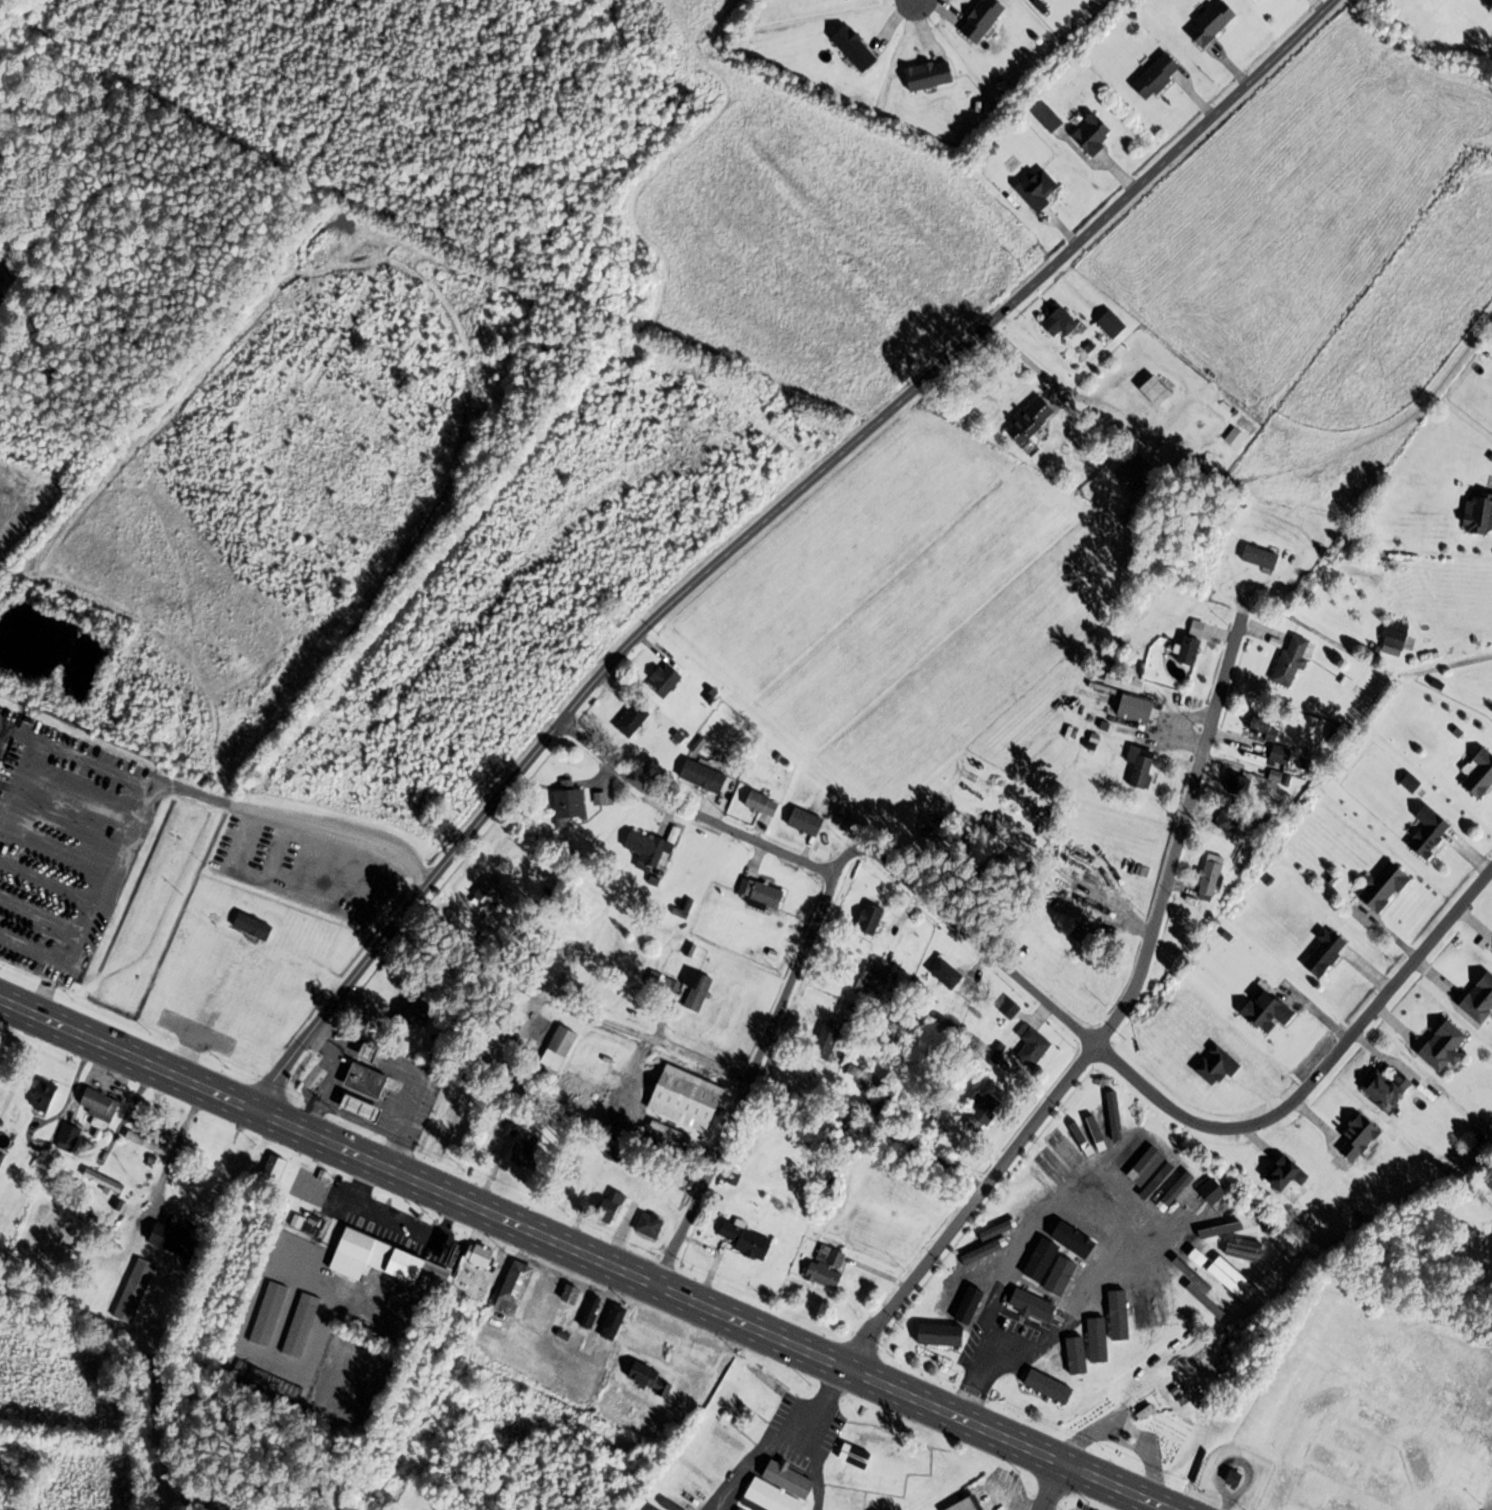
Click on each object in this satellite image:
road: (912, 1)
building: (1214, 22)
building: (1158, 76)
building: (1050, 119)
building: (1094, 134)
building: (1039, 189)
building: (1060, 321)
building: (1112, 324)
building: (1157, 391)
building: (1032, 420)
building: (1135, 471)
building: (1479, 514)
road: (759, 524)
building: (1261, 557)
building: (1397, 639)
building: (1193, 641)
building: (1294, 660)
building: (667, 678)
building: (1124, 683)
building: (1138, 710)
building: (632, 720)
building: (1265, 728)
building: (4, 751)
building: (1281, 754)
building: (1141, 766)
building: (1481, 775)
building: (704, 776)
building: (1237, 783)
road: (194, 793)
building: (763, 804)
building: (569, 806)
road: (688, 812)
building: (842, 815)
building: (1229, 821)
building: (806, 822)
building: (1431, 831)
building: (649, 851)
building: (1246, 860)
building: (1211, 875)
building: (1387, 887)
building: (762, 893)
building: (487, 896)
road: (97, 899)
building: (871, 919)
building: (254, 926)
road: (964, 930)
building: (1326, 953)
building: (1063, 963)
road: (1137, 968)
building: (946, 973)
building: (864, 978)
building: (664, 988)
building: (697, 990)
building: (1480, 998)
building: (415, 1006)
building: (1010, 1008)
building: (1269, 1013)
road: (1078, 1018)
building: (827, 1043)
building: (1032, 1046)
building: (1445, 1047)
building: (559, 1048)
building: (371, 1052)
road: (691, 1055)
building: (937, 1055)
building: (1219, 1066)
road: (1316, 1074)
gas station: (362, 1080)
building: (368, 1081)
road: (747, 1081)
building: (1389, 1090)
building: (45, 1096)
building: (688, 1099)
building: (930, 1104)
building: (99, 1105)
building: (363, 1109)
building: (982, 1112)
building: (522, 1116)
building: (670, 1133)
building: (69, 1138)
building: (1360, 1138)
building: (1081, 1139)
building: (146, 1143)
building: (524, 1153)
building: (619, 1155)
building: (1149, 1159)
building: (275, 1166)
building: (1288, 1174)
building: (104, 1182)
building: (1214, 1192)
building: (610, 1208)
building: (305, 1224)
building: (649, 1225)
building: (1085, 1229)
building: (995, 1234)
building: (175, 1240)
building: (744, 1240)
building: (357, 1254)
building: (480, 1255)
road: (587, 1255)
building: (1039, 1262)
building: (828, 1267)
building: (420, 1271)
building: (1193, 1276)
building: (1071, 1279)
building: (959, 1283)
building: (514, 1287)
building: (135, 1290)
building: (546, 1290)
building: (571, 1294)
building: (1028, 1304)
building: (954, 1309)
building: (592, 1311)
building: (268, 1314)
building: (1109, 1321)
building: (614, 1322)
building: (301, 1325)
building: (944, 1338)
building: (1066, 1356)
building: (1485, 1371)
building: (651, 1377)
building: (766, 1382)
building: (1050, 1389)
building: (726, 1396)
building: (1470, 1396)
building: (1326, 1401)
road: (779, 1435)
building: (726, 1438)
building: (869, 1440)
building: (1337, 1460)
building: (1423, 1475)
building: (949, 1476)
road: (1049, 1484)
building: (1389, 1485)
building: (779, 1489)
building: (1280, 1489)
building: (854, 1501)
building: (1450, 1501)
building: (968, 1504)
building: (1342, 1504)
building: (649, 1507)

